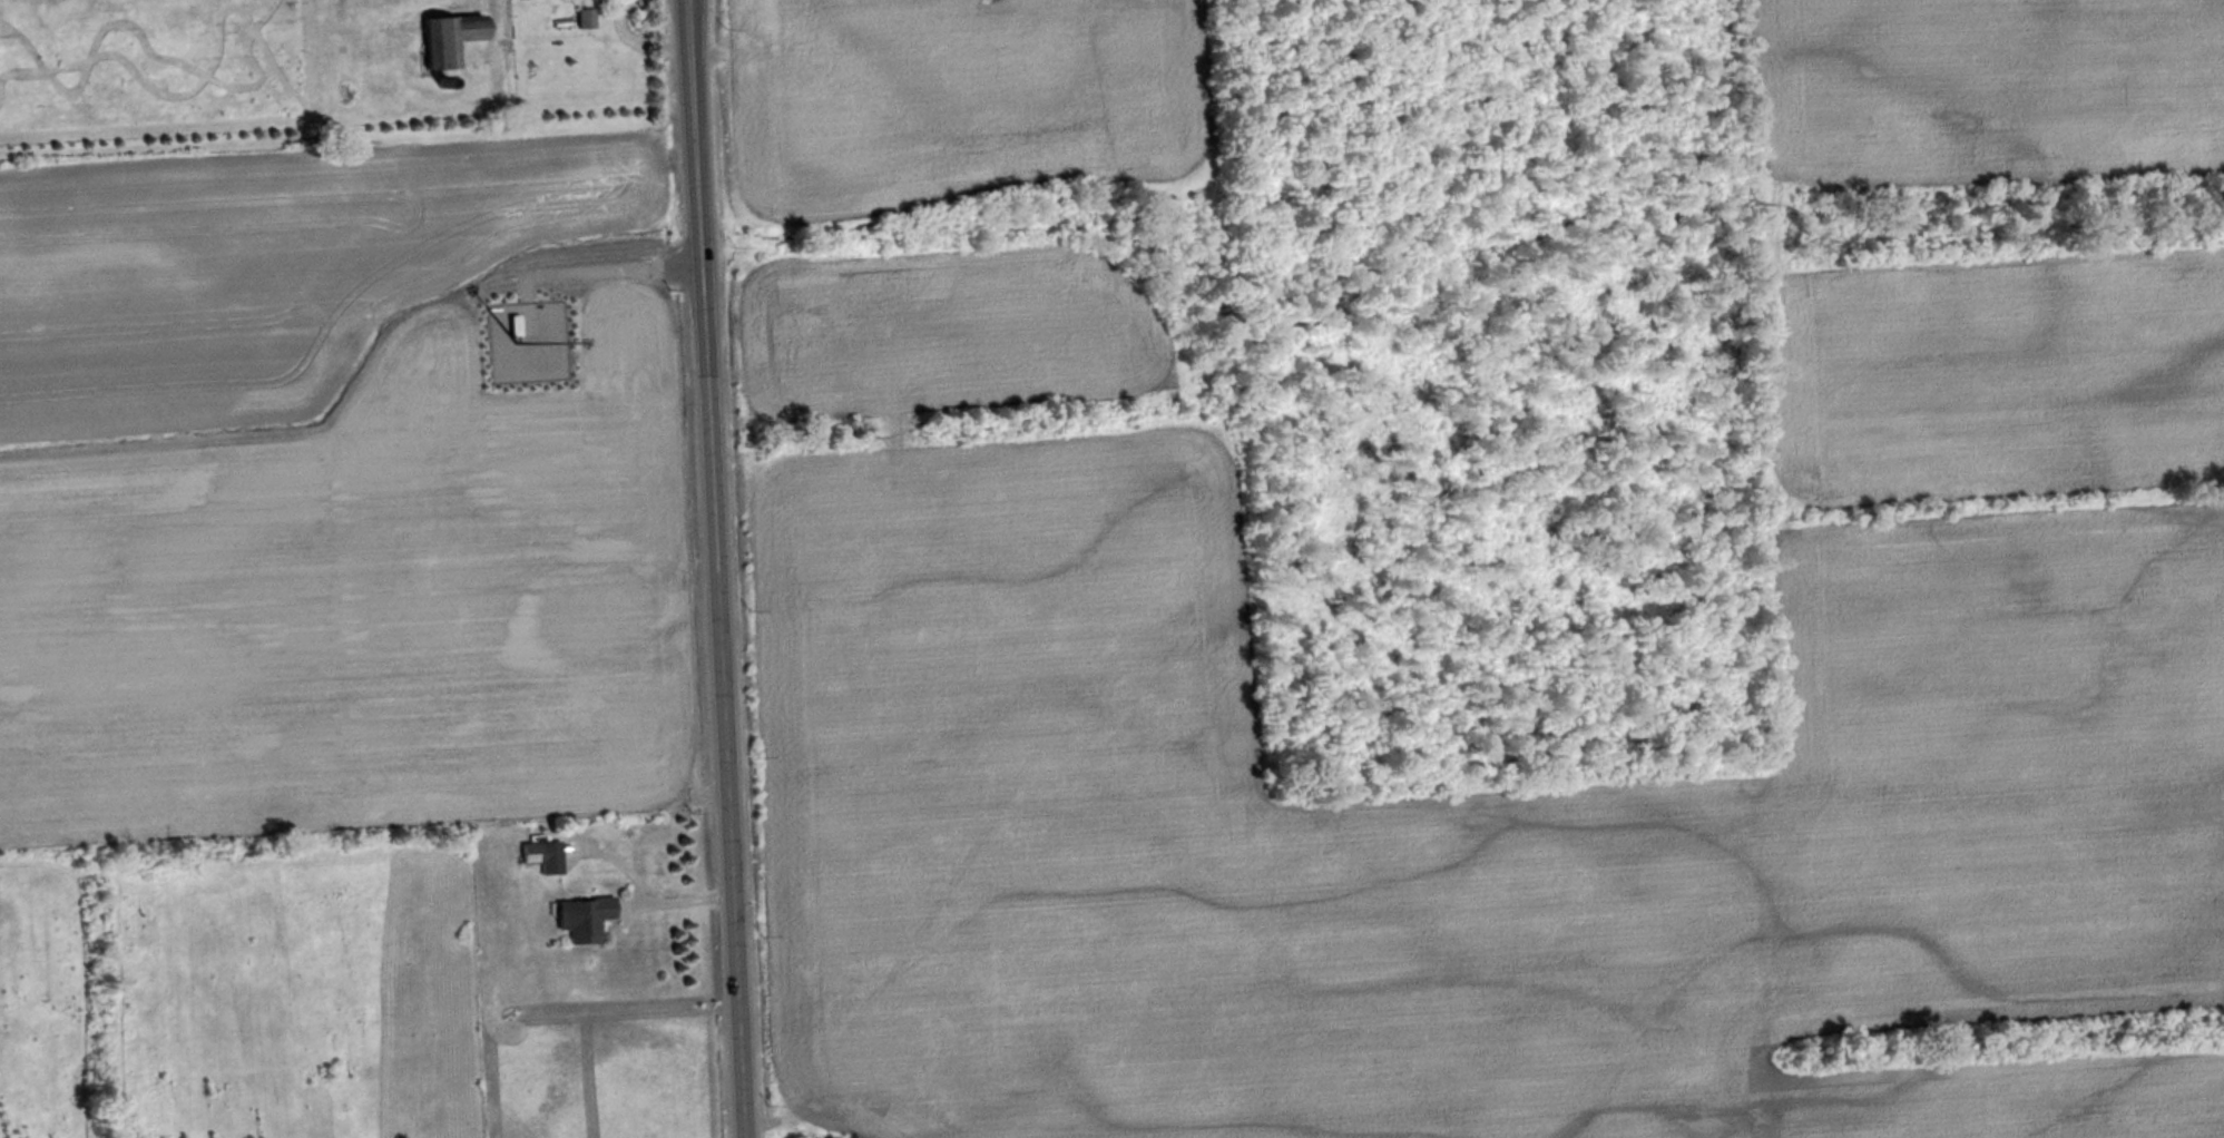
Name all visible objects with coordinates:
building: (585, 21)
building: (447, 39)
road: (712, 569)
building: (543, 857)
building: (582, 921)

